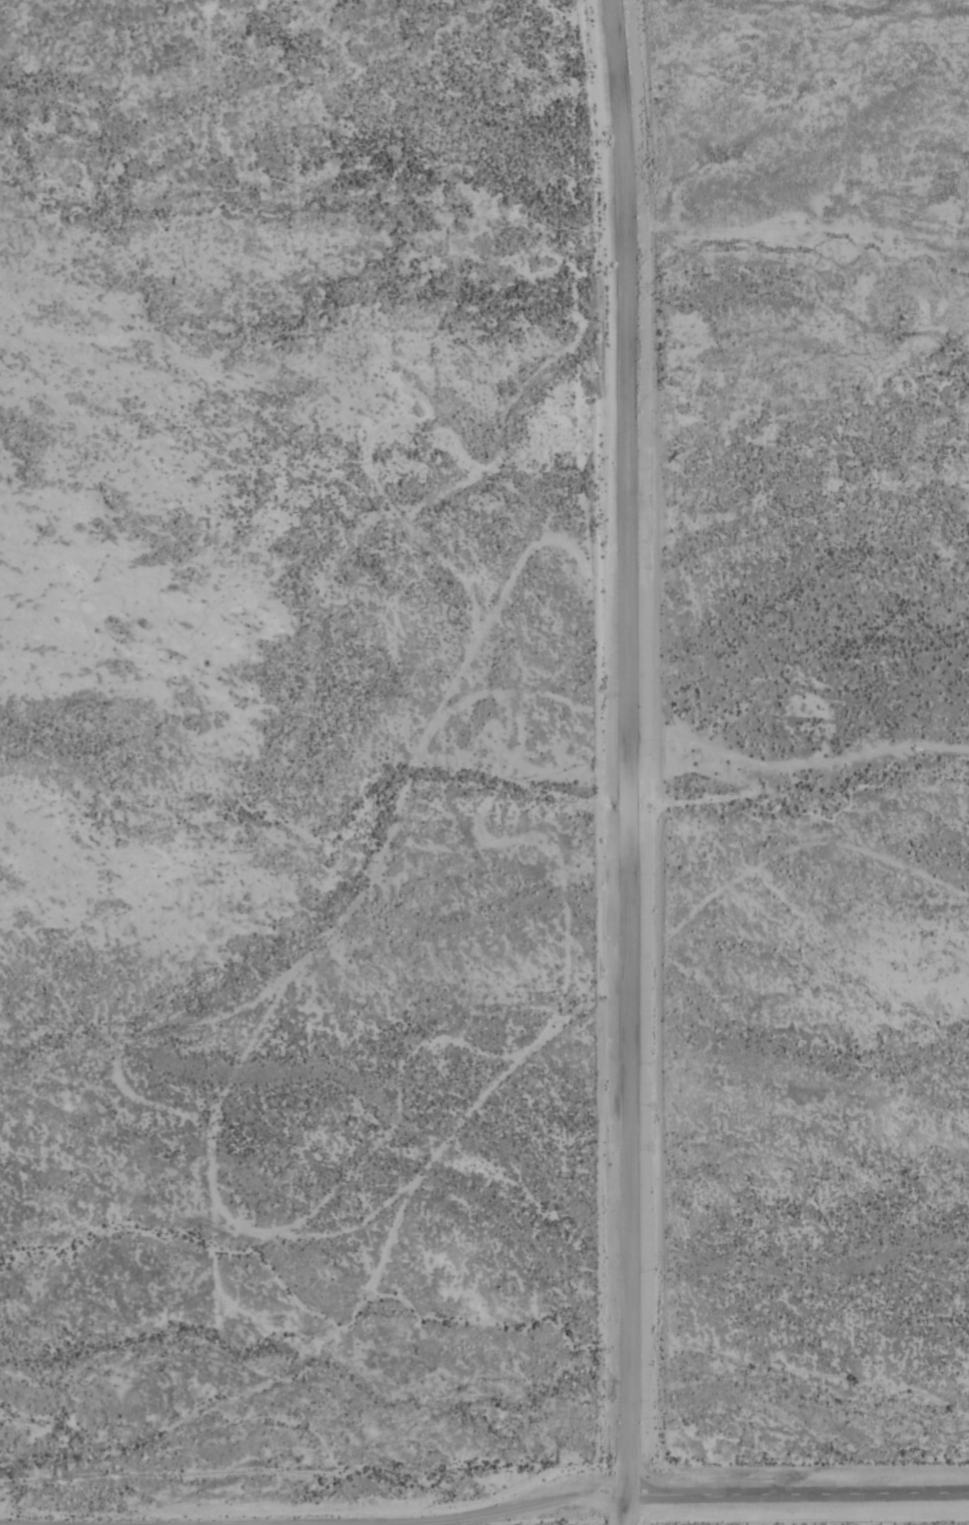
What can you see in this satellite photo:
road: (626, 762)
railway: (153, 1131)
railway: (148, 1143)
railway: (348, 1453)
railway: (337, 1455)
road: (594, 1501)

